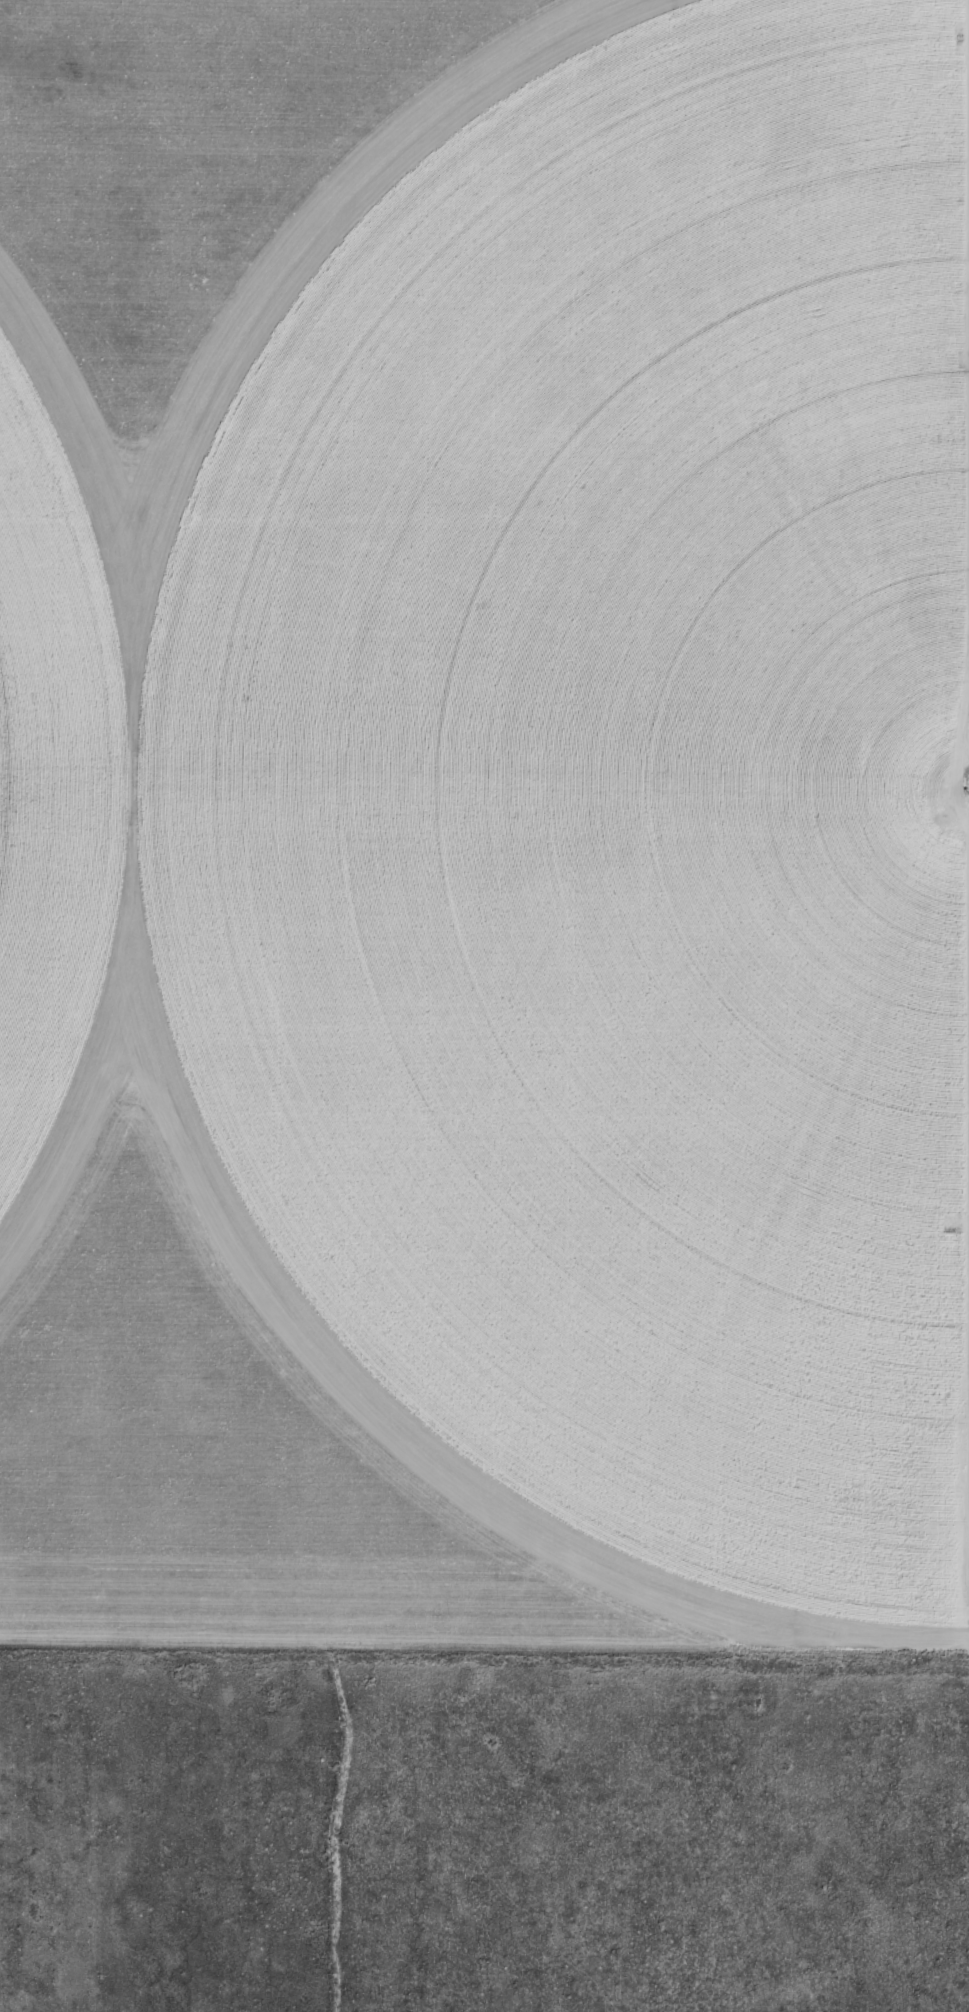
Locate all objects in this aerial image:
road: (136, 815)
road: (186, 1676)

